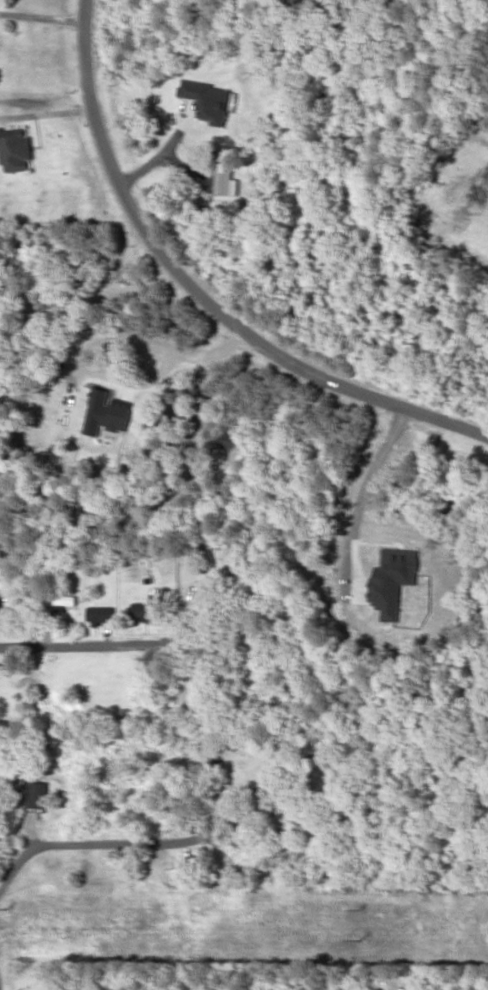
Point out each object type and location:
building: (208, 99)
building: (15, 148)
road: (198, 294)
building: (104, 411)
building: (393, 580)
building: (148, 606)
building: (99, 614)
road: (93, 642)
building: (12, 668)
building: (37, 794)
road: (135, 842)
power tower: (9, 905)
power tower: (360, 910)
power tower: (360, 939)

